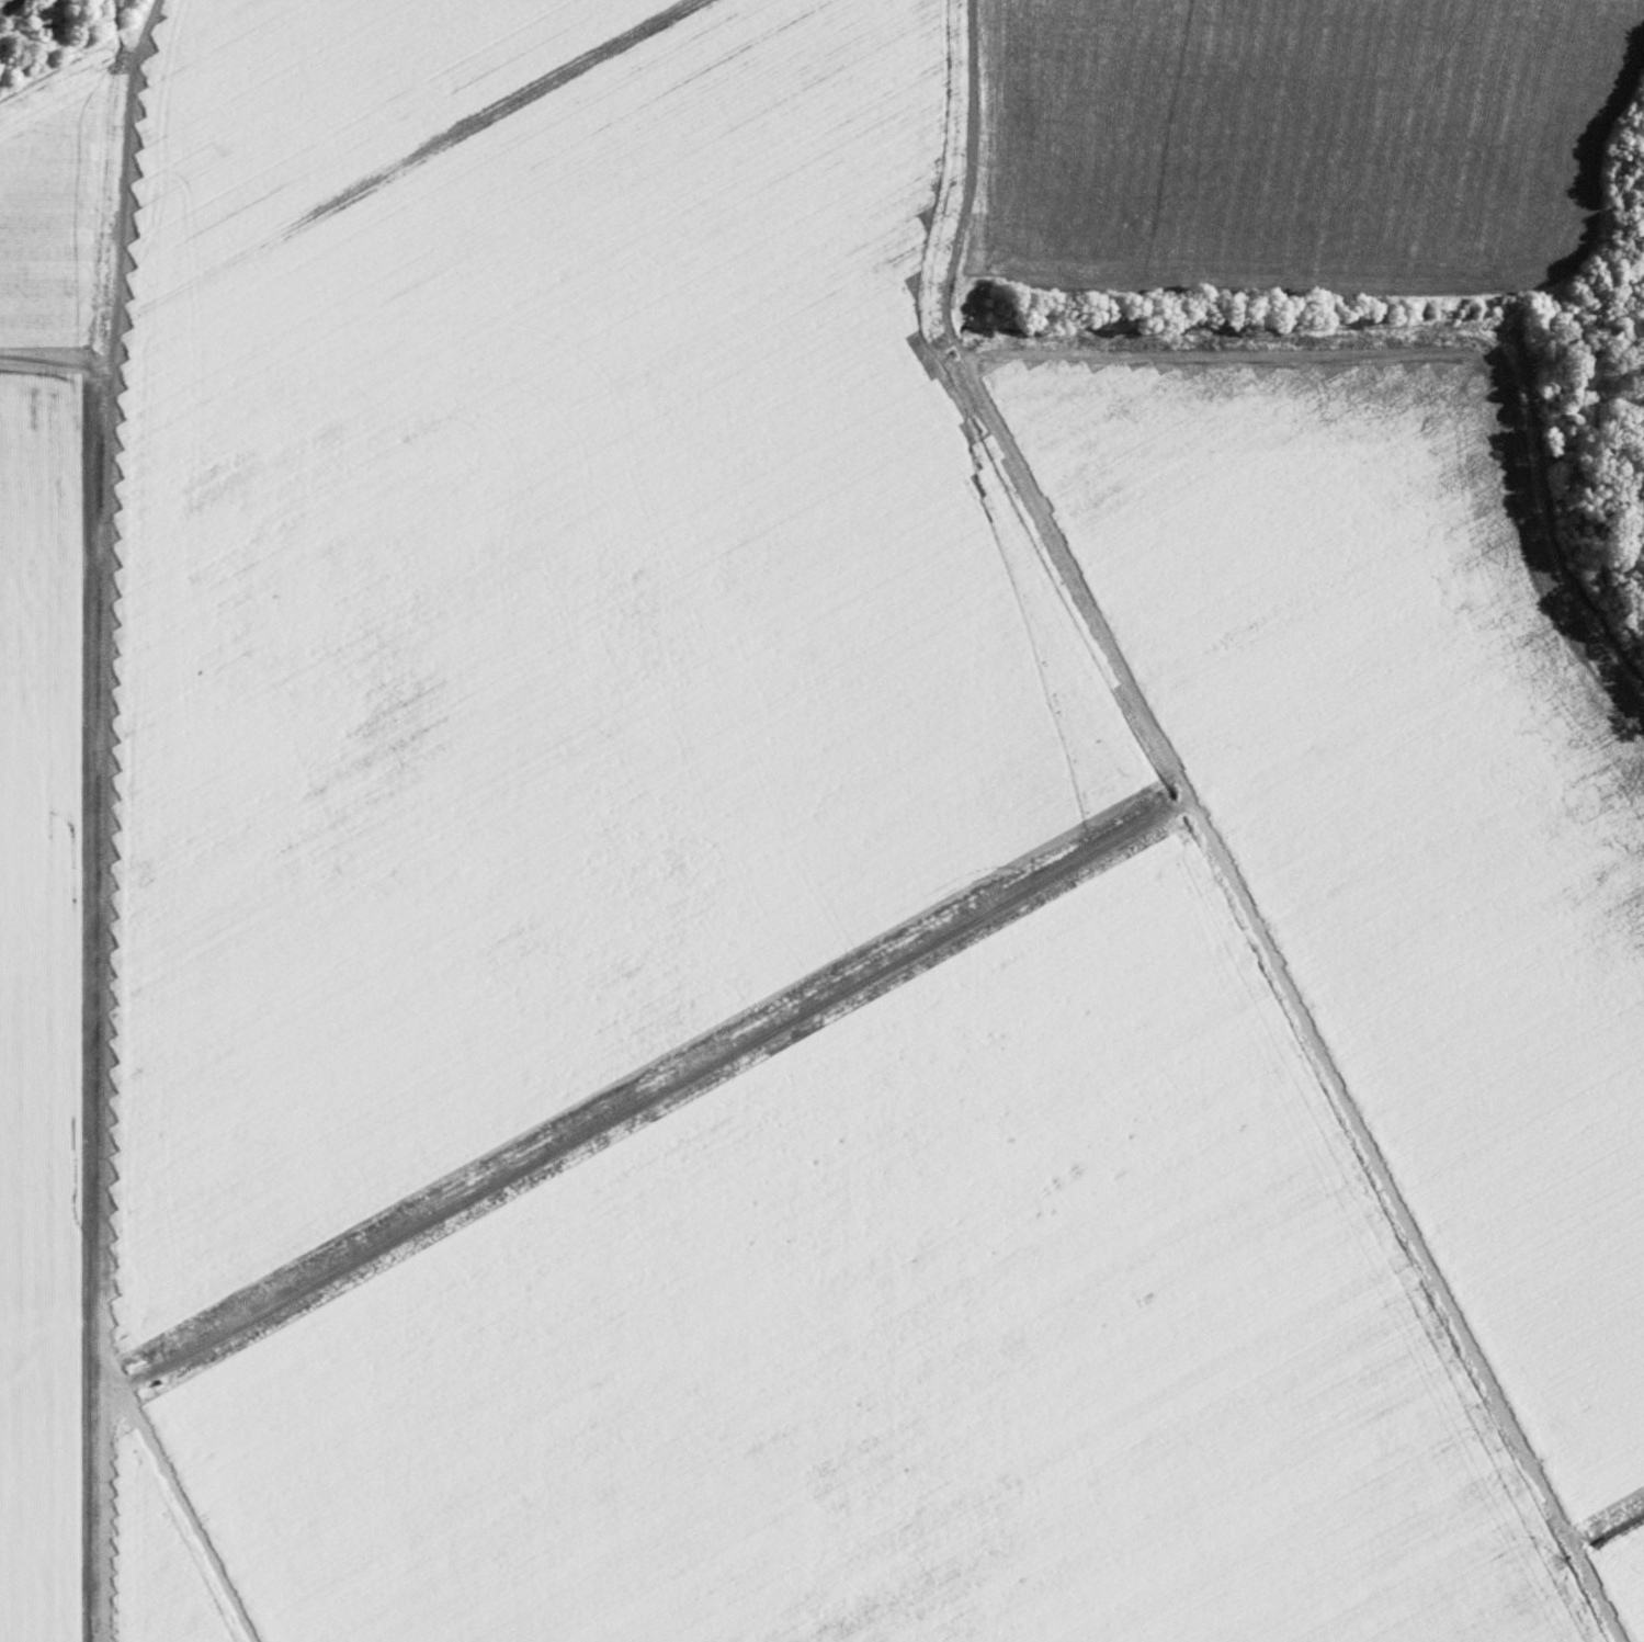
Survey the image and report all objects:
road: (84, 409)
road: (961, 552)
road: (87, 1086)

